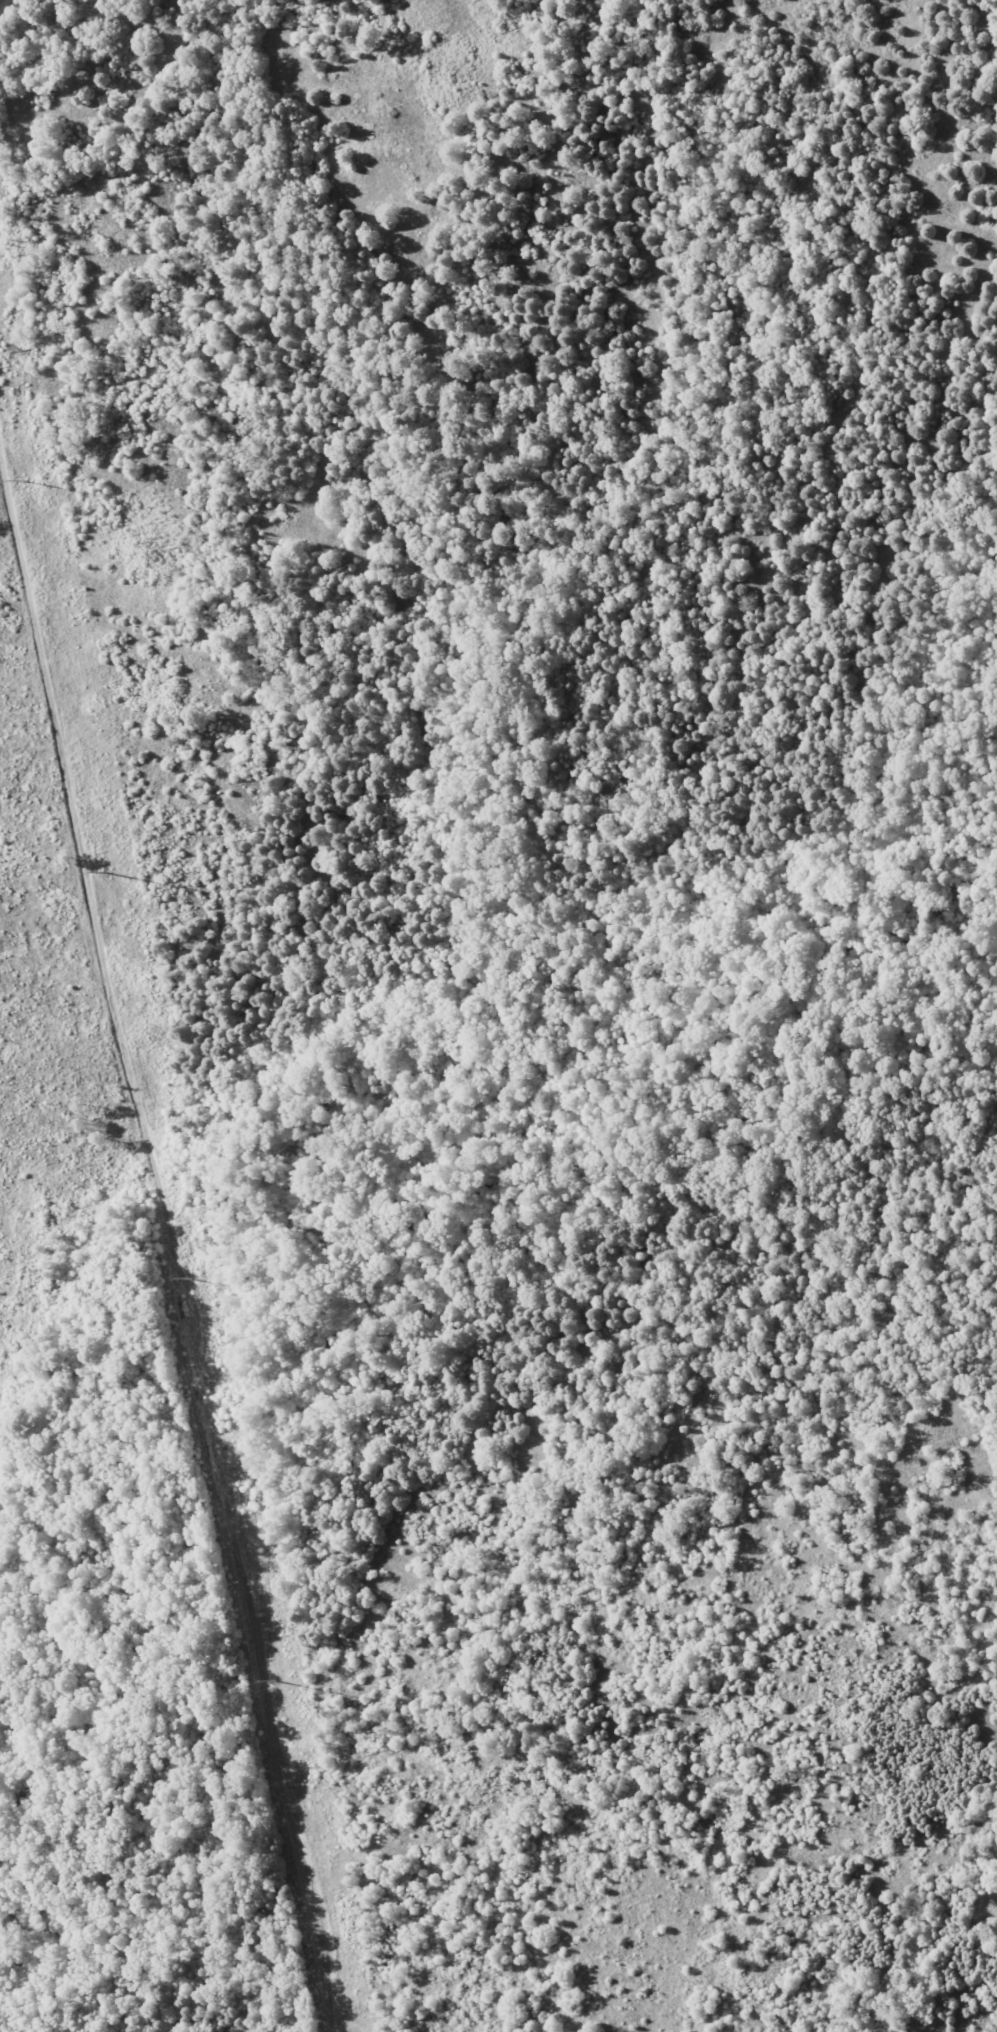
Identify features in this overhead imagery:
road: (4, 4)
power tower: (23, 482)
power tower: (105, 874)
power tower: (189, 1280)
power tower: (274, 1681)

